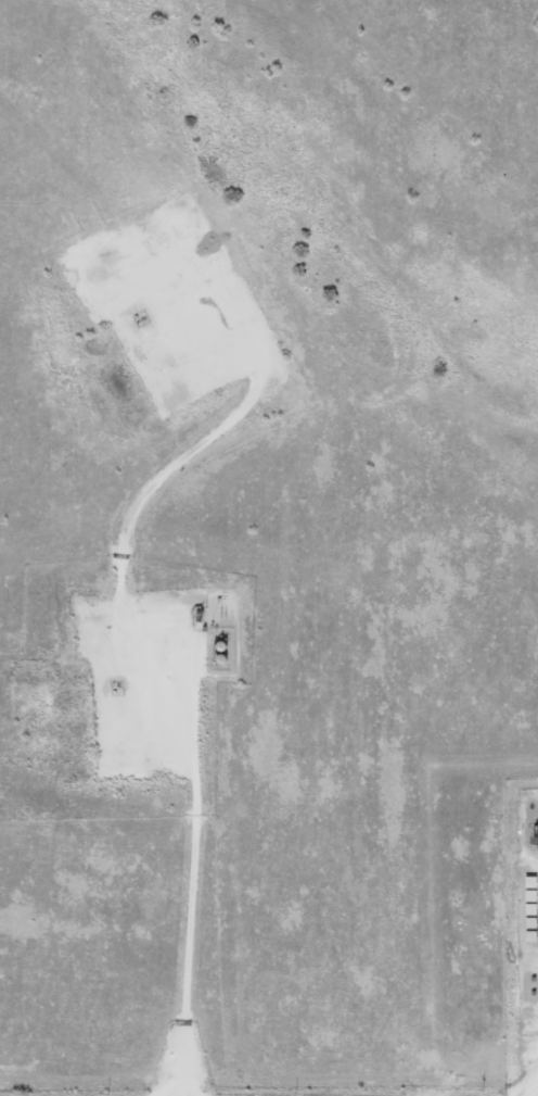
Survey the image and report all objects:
road: (527, 1088)

